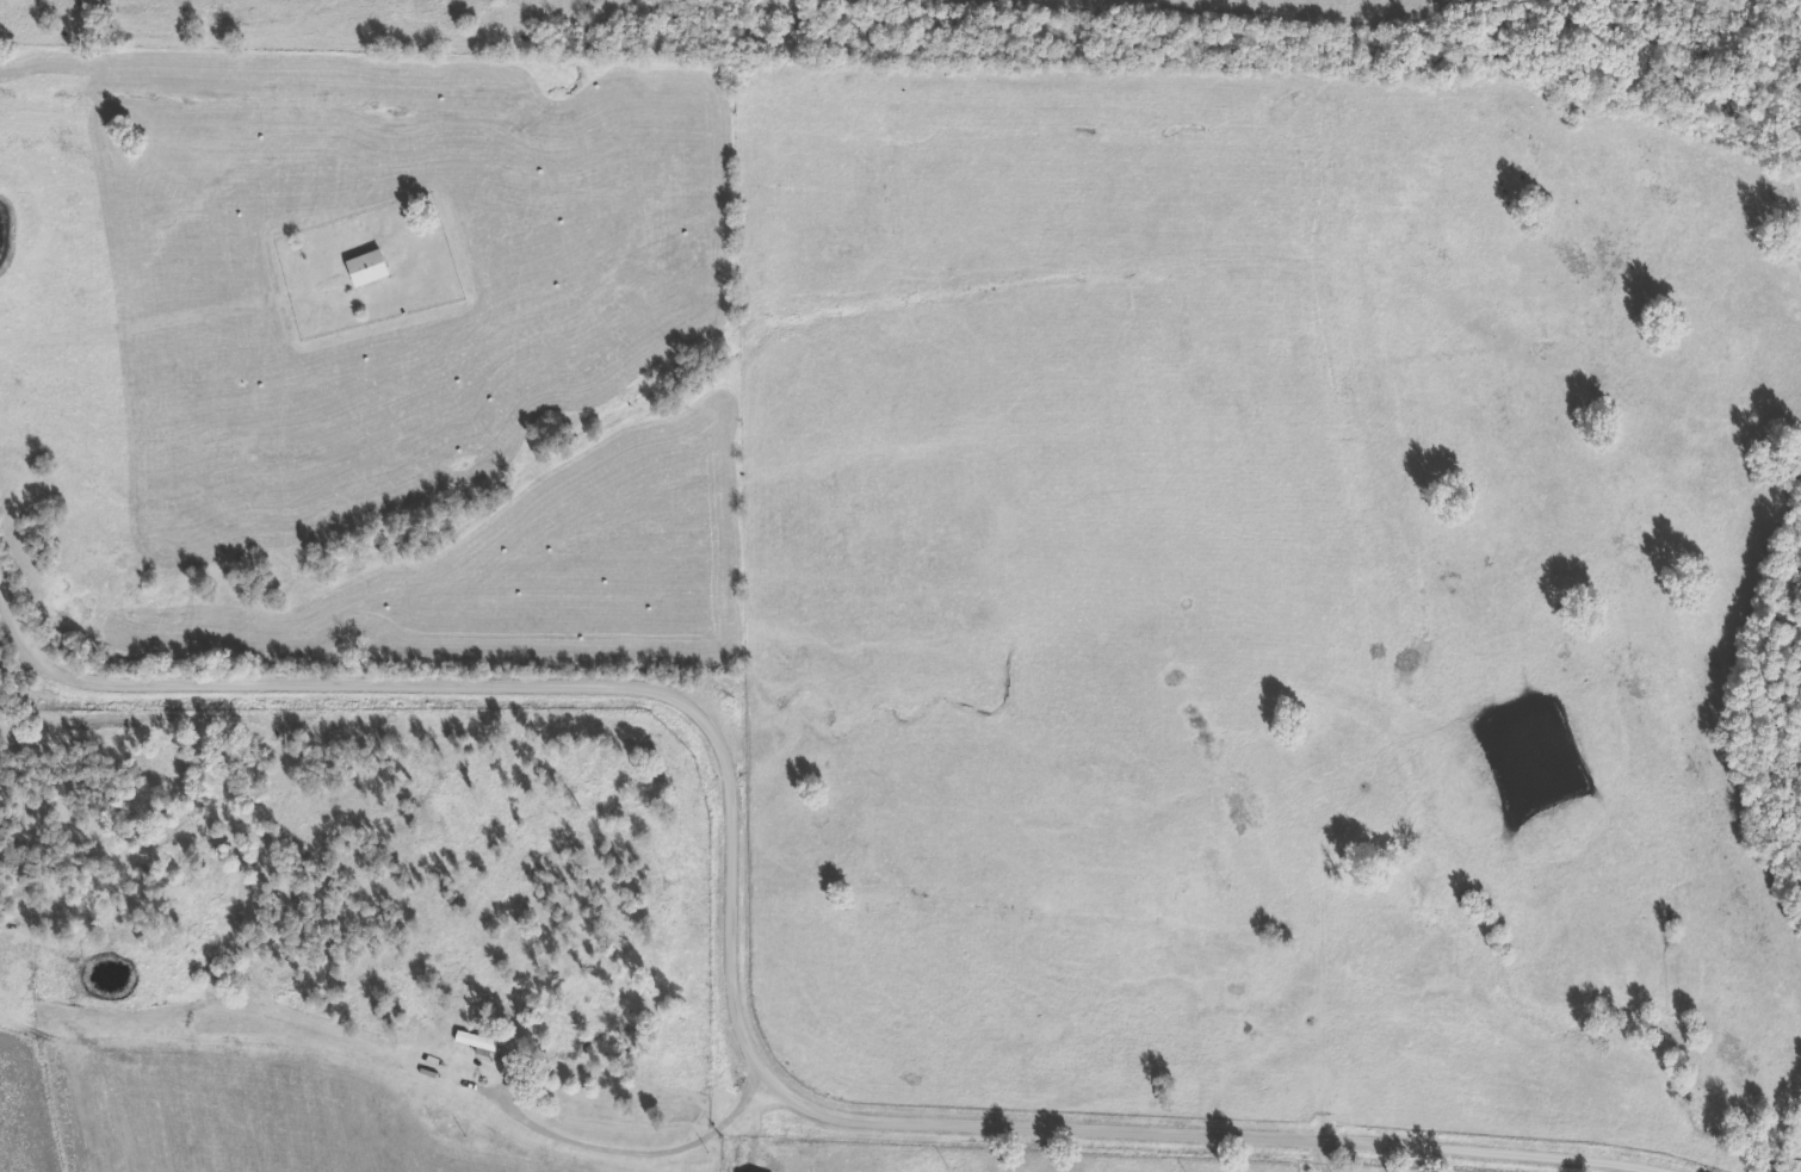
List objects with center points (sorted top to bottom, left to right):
building: (369, 271)
road: (734, 973)
building: (478, 1044)
road: (1327, 1157)

